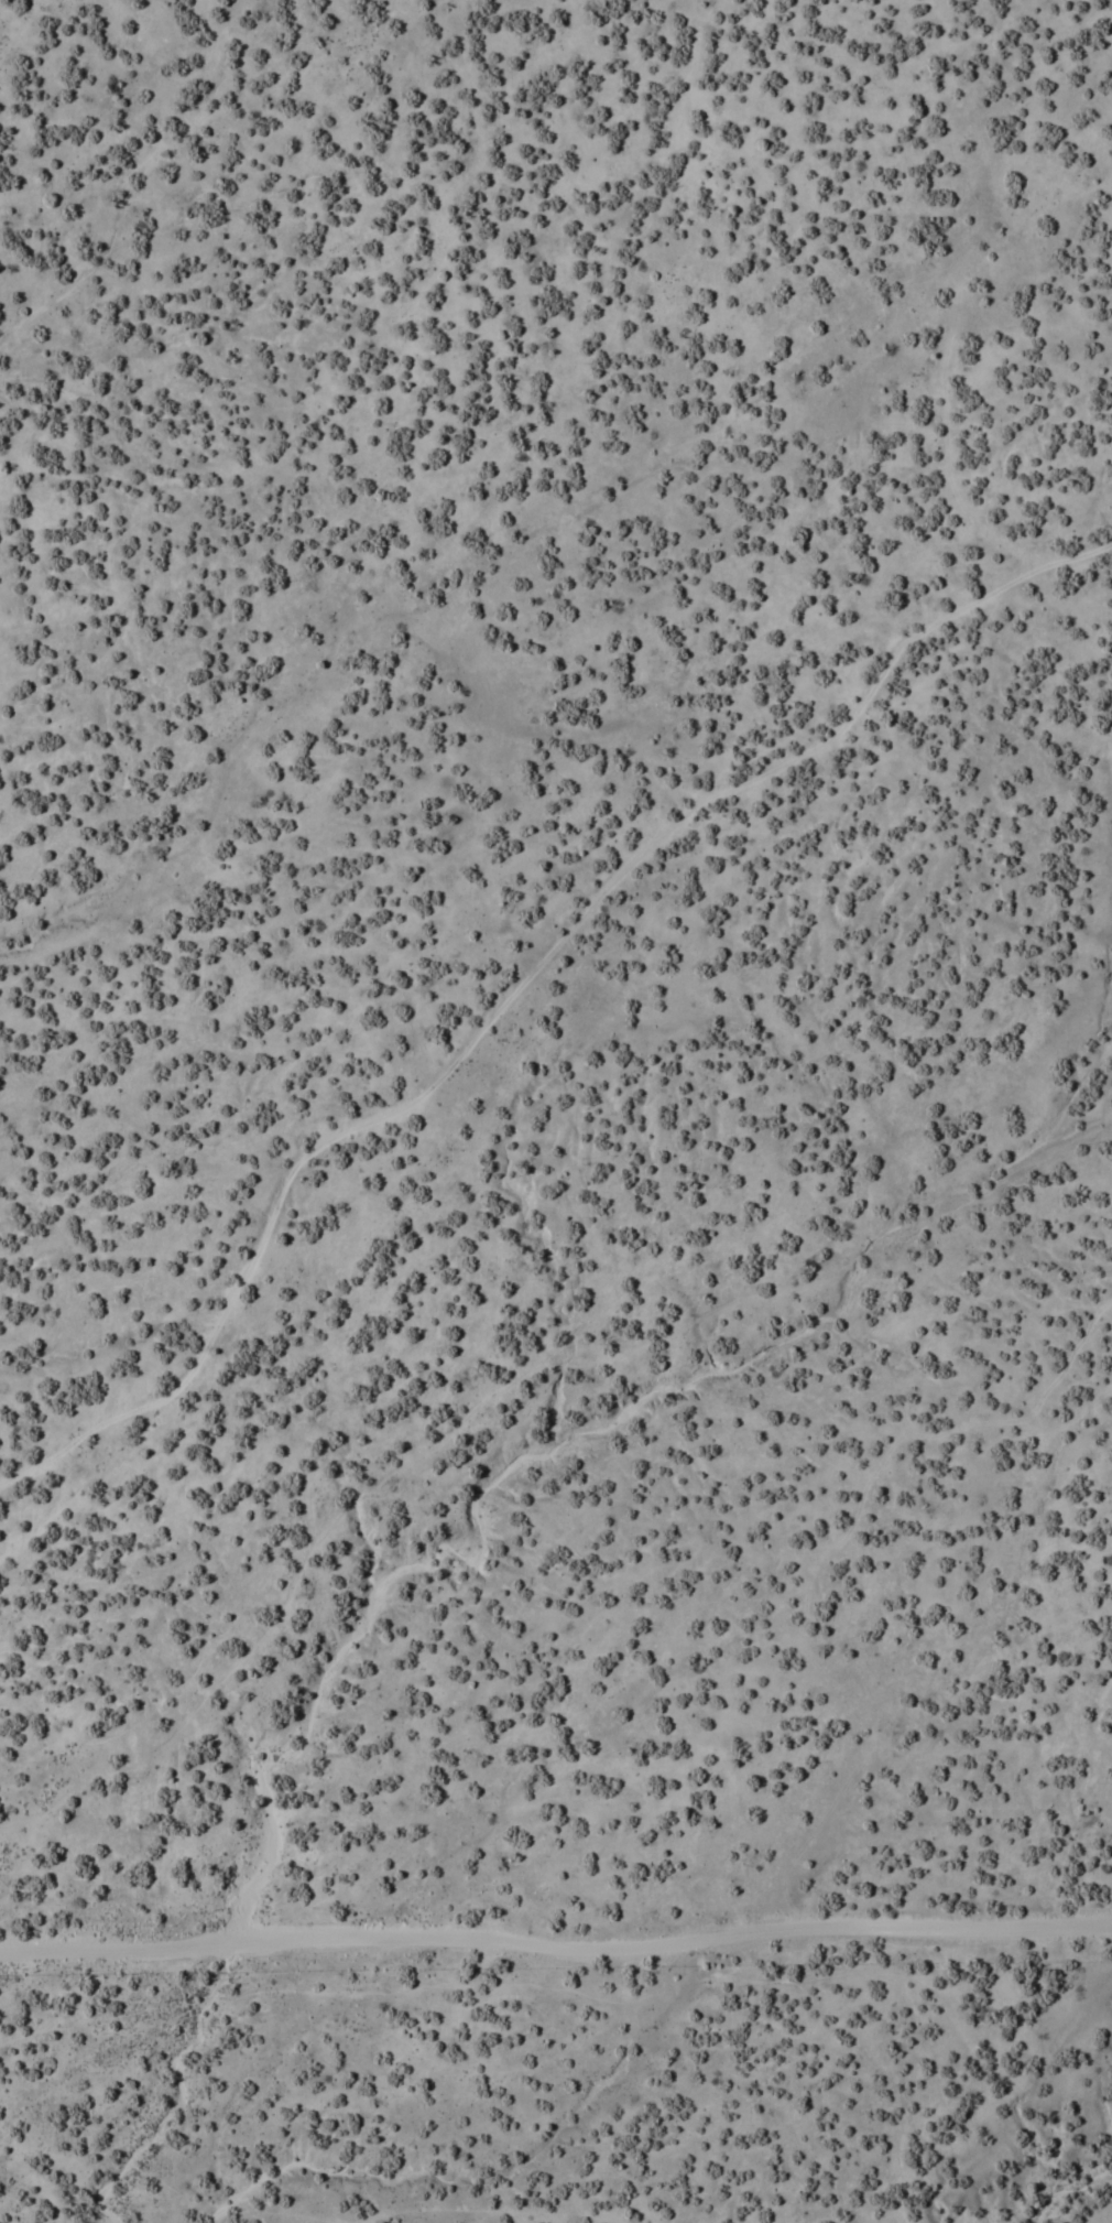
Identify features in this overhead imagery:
road: (544, 990)
road: (556, 1944)

